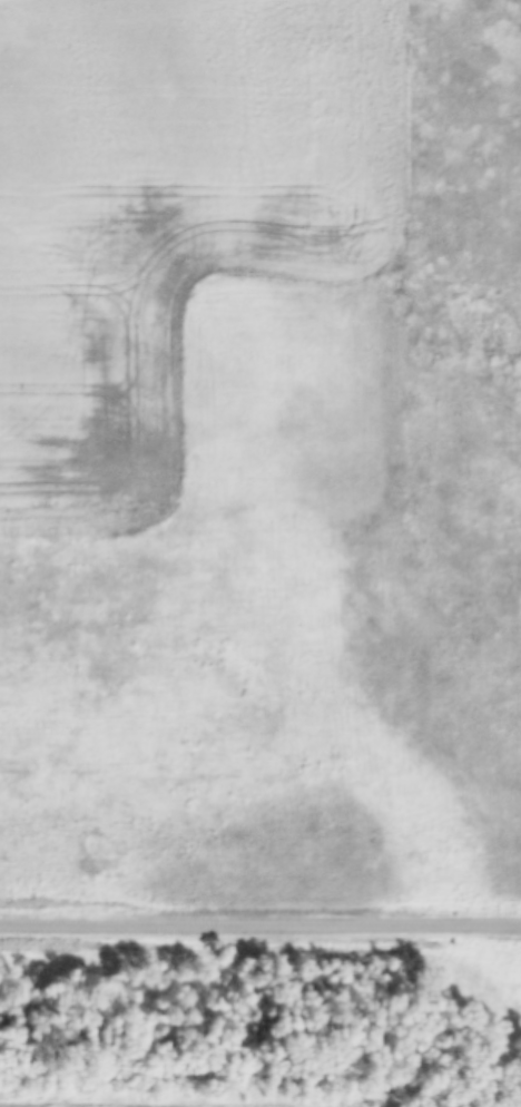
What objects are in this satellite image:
road: (260, 925)

